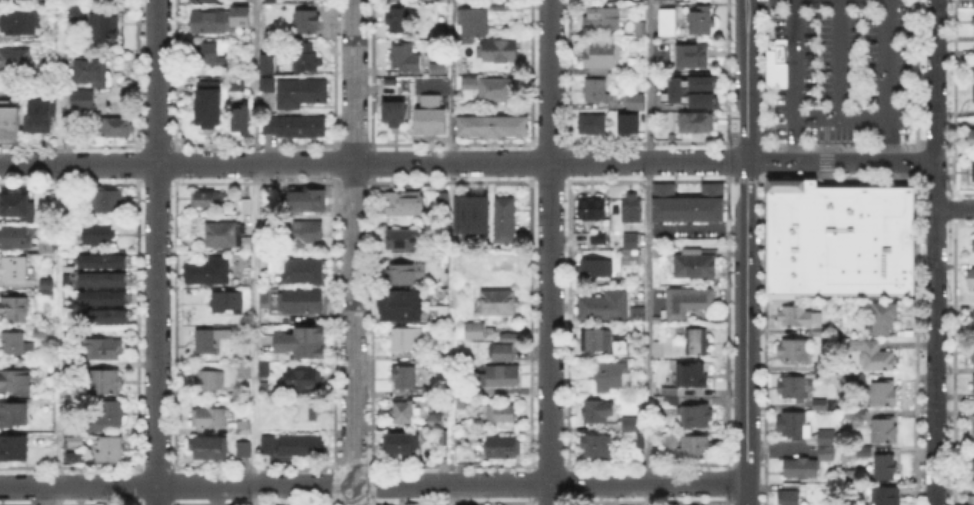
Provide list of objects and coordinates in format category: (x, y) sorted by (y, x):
building: (272, 1)
building: (972, 1)
building: (50, 10)
building: (74, 11)
building: (242, 16)
building: (601, 18)
building: (473, 21)
building: (400, 22)
building: (972, 22)
building: (19, 23)
building: (208, 23)
building: (307, 23)
building: (702, 24)
building: (105, 27)
building: (641, 30)
building: (500, 51)
building: (205, 54)
building: (600, 56)
building: (693, 57)
building: (307, 58)
building: (404, 58)
road: (840, 59)
building: (972, 61)
building: (15, 62)
building: (265, 62)
building: (778, 62)
building: (434, 67)
building: (87, 70)
parking lot: (842, 70)
road: (890, 79)
road: (796, 80)
road: (935, 80)
building: (263, 82)
building: (236, 83)
building: (702, 83)
building: (493, 89)
building: (297, 91)
building: (596, 91)
building: (678, 92)
building: (972, 96)
building: (81, 100)
building: (702, 101)
building: (637, 102)
building: (210, 108)
building: (395, 114)
building: (432, 116)
building: (41, 118)
road: (843, 118)
building: (242, 120)
building: (641, 120)
building: (10, 122)
building: (697, 124)
building: (592, 125)
building: (493, 126)
building: (296, 127)
building: (115, 129)
road: (255, 129)
building: (969, 140)
road: (467, 162)
building: (973, 172)
road: (936, 185)
building: (105, 200)
building: (211, 200)
building: (444, 200)
building: (309, 201)
building: (16, 203)
building: (406, 204)
building: (69, 205)
building: (690, 205)
building: (247, 206)
building: (633, 209)
road: (955, 209)
building: (592, 210)
building: (473, 212)
building: (506, 221)
building: (99, 234)
building: (308, 234)
building: (15, 235)
building: (840, 235)
building: (595, 236)
building: (227, 237)
building: (404, 239)
building: (600, 239)
building: (632, 242)
building: (50, 243)
building: (973, 245)
road: (58, 252)
road: (156, 252)
road: (353, 252)
road: (450, 252)
road: (548, 252)
road: (648, 252)
road: (746, 252)
building: (104, 259)
building: (695, 263)
building: (503, 265)
building: (15, 269)
building: (296, 269)
building: (600, 269)
building: (208, 272)
building: (402, 275)
building: (104, 277)
building: (971, 278)
building: (437, 291)
building: (48, 294)
building: (103, 295)
building: (265, 297)
building: (688, 302)
building: (228, 303)
building: (303, 303)
building: (501, 303)
building: (398, 304)
building: (601, 304)
building: (440, 308)
building: (16, 309)
building: (634, 312)
building: (106, 314)
building: (796, 316)
building: (886, 320)
building: (973, 322)
building: (826, 331)
building: (475, 332)
building: (40, 333)
building: (303, 340)
building: (209, 341)
building: (594, 341)
building: (409, 342)
building: (697, 342)
building: (15, 345)
building: (102, 350)
building: (795, 350)
building: (658, 351)
building: (971, 351)
building: (875, 355)
road: (936, 357)
building: (441, 365)
building: (265, 370)
building: (500, 371)
building: (823, 371)
building: (245, 372)
building: (611, 375)
building: (405, 377)
building: (856, 378)
building: (15, 381)
building: (104, 381)
building: (209, 381)
road: (254, 381)
building: (304, 381)
building: (685, 381)
building: (972, 383)
building: (792, 386)
building: (604, 390)
building: (885, 394)
building: (461, 403)
building: (821, 404)
building: (403, 410)
building: (109, 413)
building: (305, 413)
building: (595, 413)
building: (500, 414)
building: (14, 416)
building: (696, 417)
building: (211, 419)
building: (435, 419)
building: (860, 420)
building: (795, 426)
building: (972, 429)
building: (244, 430)
building: (886, 430)
building: (72, 431)
building: (635, 431)
building: (826, 438)
building: (461, 440)
building: (76, 444)
building: (402, 444)
building: (269, 445)
building: (697, 447)
building: (206, 448)
building: (304, 448)
building: (506, 448)
building: (597, 448)
building: (14, 449)
building: (111, 449)
building: (244, 451)
building: (864, 451)
building: (827, 455)
building: (801, 467)
building: (886, 468)
building: (971, 468)
road: (373, 484)
building: (793, 494)
building: (888, 497)
building: (973, 500)

